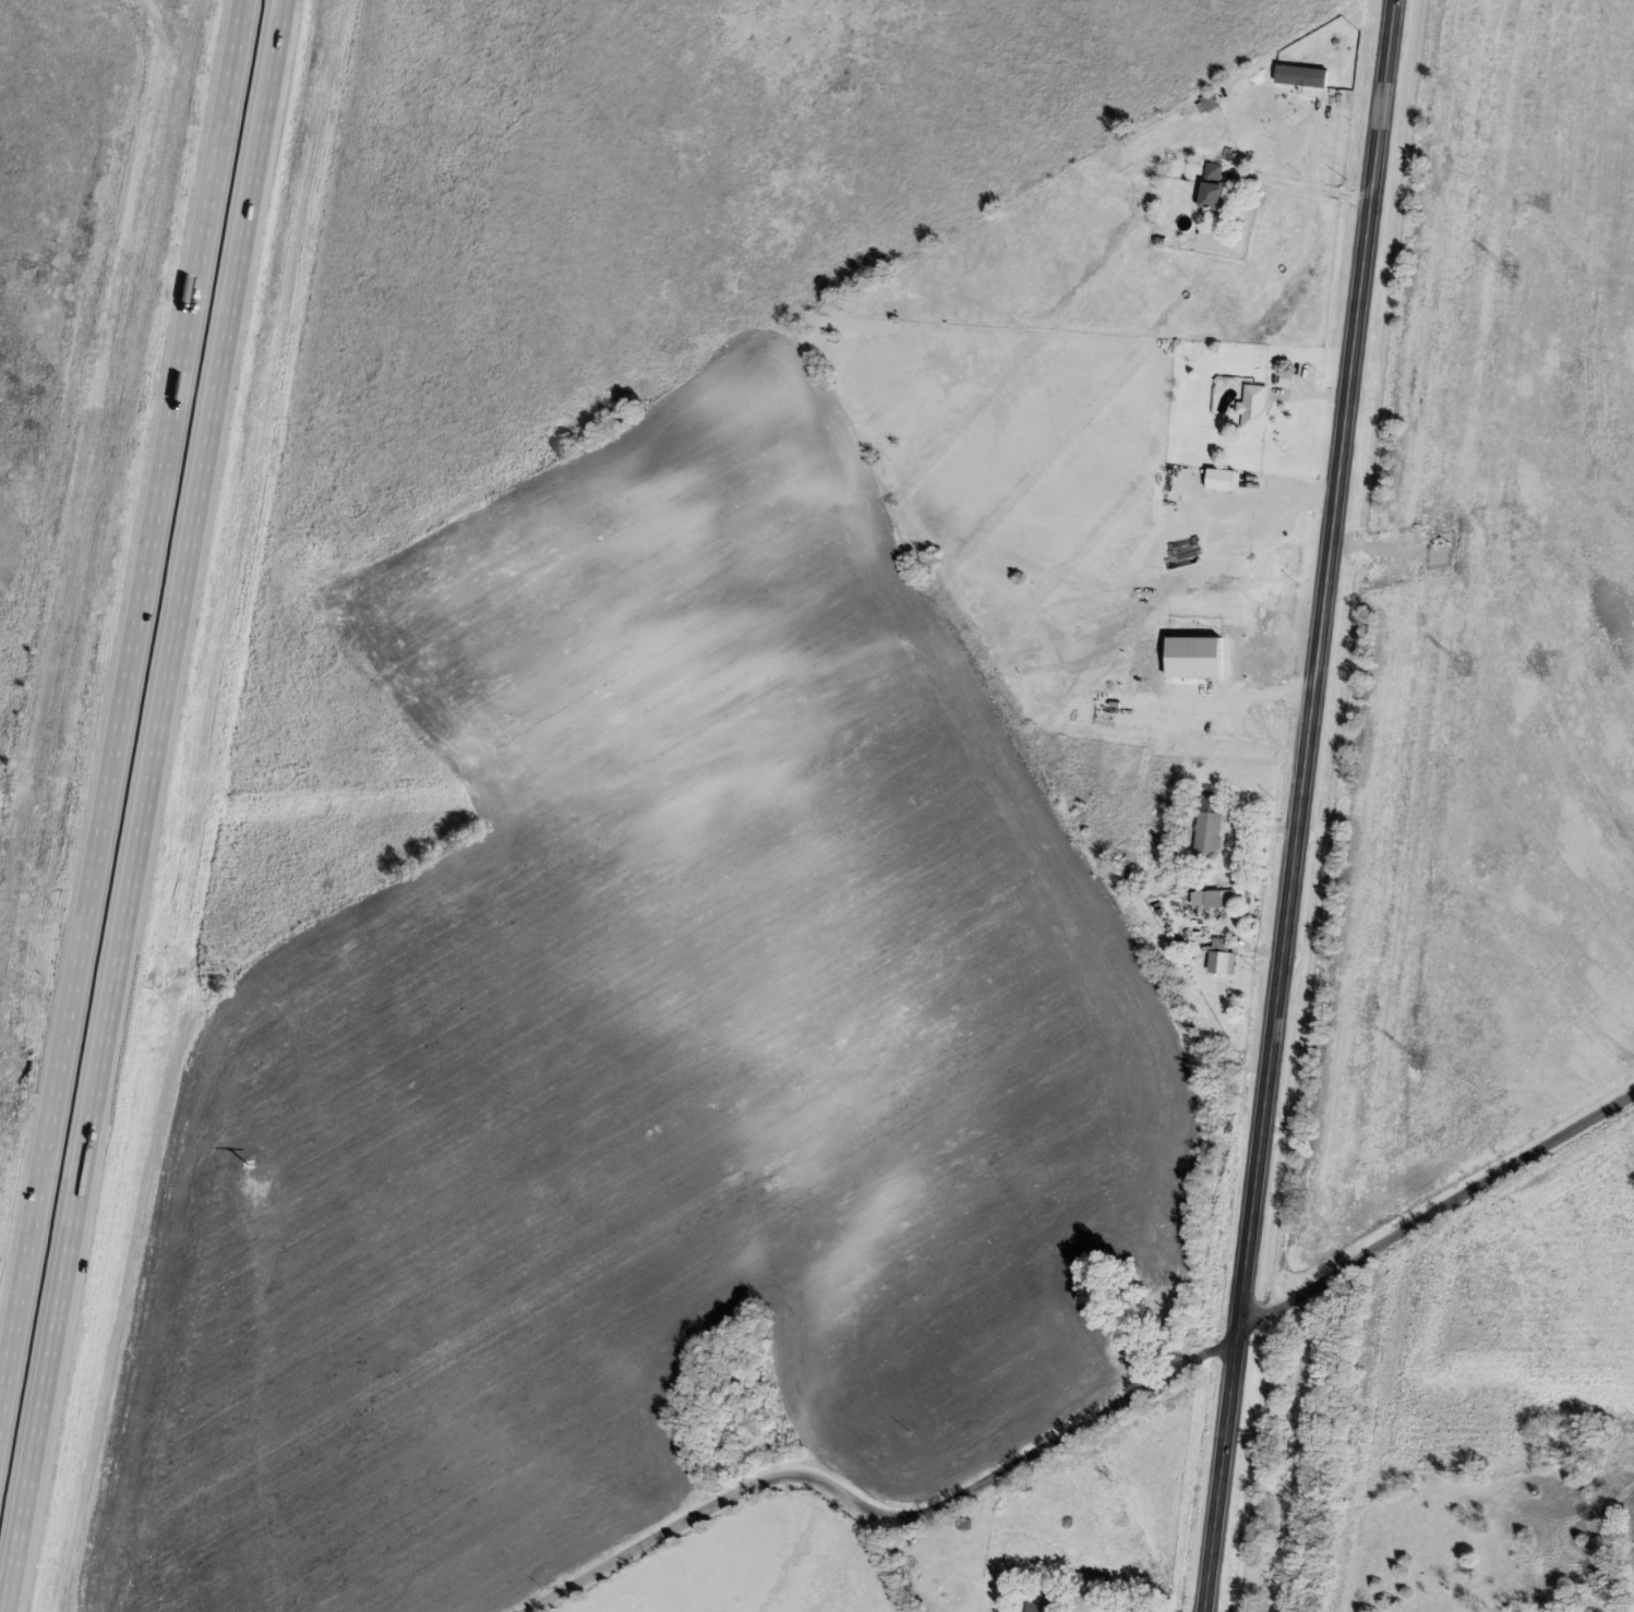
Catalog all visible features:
building: (1210, 101)
building: (1214, 188)
road: (1307, 189)
power tower: (1510, 272)
road: (1308, 395)
building: (1254, 407)
building: (1221, 480)
power tower: (1464, 669)
road: (1246, 700)
road: (123, 718)
road: (139, 805)
railway: (1446, 805)
road: (1300, 806)
road: (1265, 823)
building: (1210, 827)
building: (1213, 898)
building: (1221, 954)
power tower: (1417, 1058)
road: (1434, 1210)
power tower: (1374, 1420)
road: (885, 1512)
building: (1084, 1584)
building: (1042, 1602)
road: (1115, 1608)

